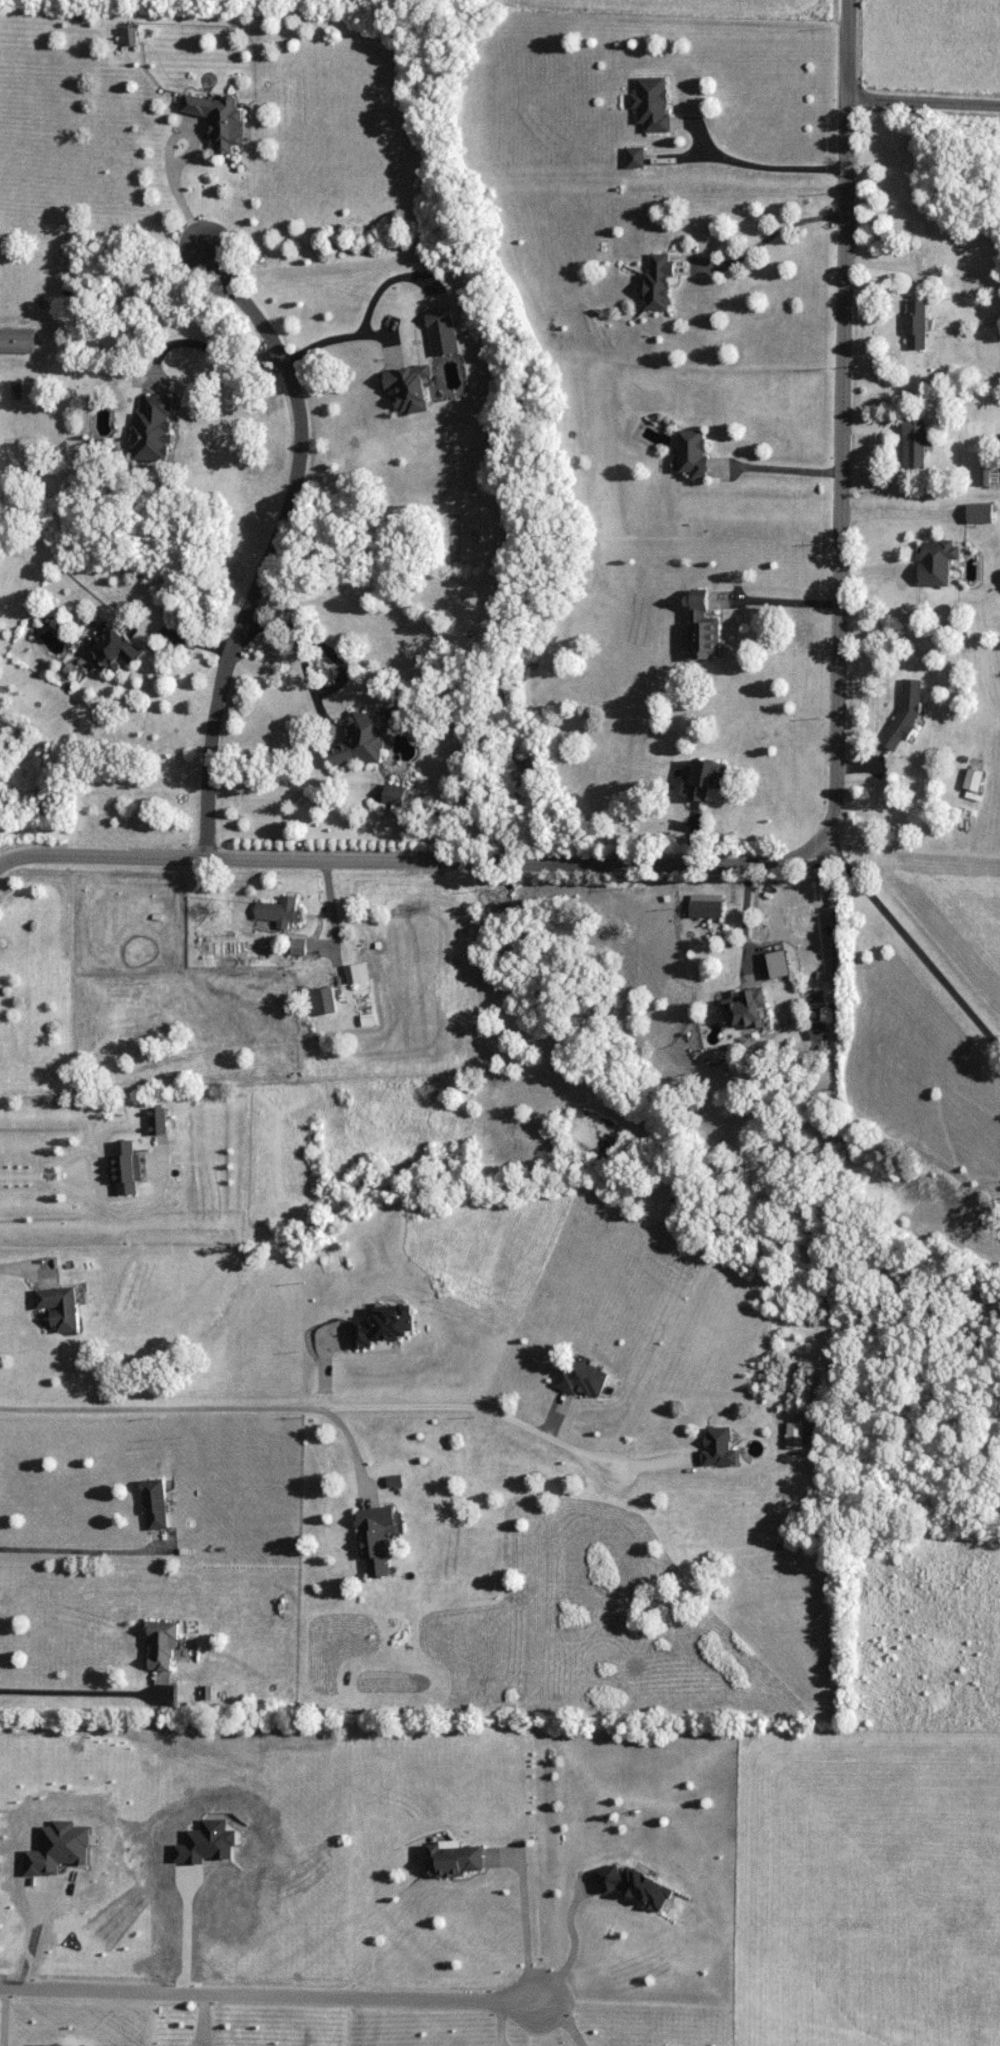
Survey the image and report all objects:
building: (131, 36)
building: (653, 102)
road: (923, 107)
building: (221, 121)
road: (173, 142)
building: (636, 157)
road: (759, 173)
road: (760, 248)
building: (660, 281)
building: (916, 325)
road: (333, 337)
building: (20, 341)
road: (193, 352)
building: (413, 387)
building: (157, 429)
building: (915, 443)
building: (695, 453)
road: (775, 476)
building: (990, 476)
road: (291, 510)
building: (982, 513)
building: (938, 561)
road: (774, 609)
building: (704, 627)
road: (149, 640)
building: (115, 648)
road: (206, 652)
building: (906, 714)
building: (364, 740)
road: (270, 766)
building: (708, 778)
building: (975, 780)
building: (396, 795)
road: (829, 840)
building: (707, 906)
building: (280, 912)
road: (745, 933)
road: (331, 936)
road: (912, 953)
building: (358, 973)
building: (325, 1002)
building: (747, 1009)
building: (818, 1031)
building: (158, 1121)
building: (127, 1168)
road: (95, 1170)
road: (20, 1175)
building: (62, 1307)
building: (387, 1326)
building: (584, 1380)
road: (317, 1413)
building: (796, 1436)
building: (720, 1448)
road: (359, 1463)
road: (642, 1466)
building: (395, 1481)
building: (156, 1504)
building: (375, 1538)
road: (90, 1556)
building: (164, 1647)
road: (97, 1701)
building: (456, 1860)
road: (523, 1915)
road: (186, 1931)
road: (33, 1933)
road: (574, 1945)
road: (266, 1997)
road: (562, 2018)

